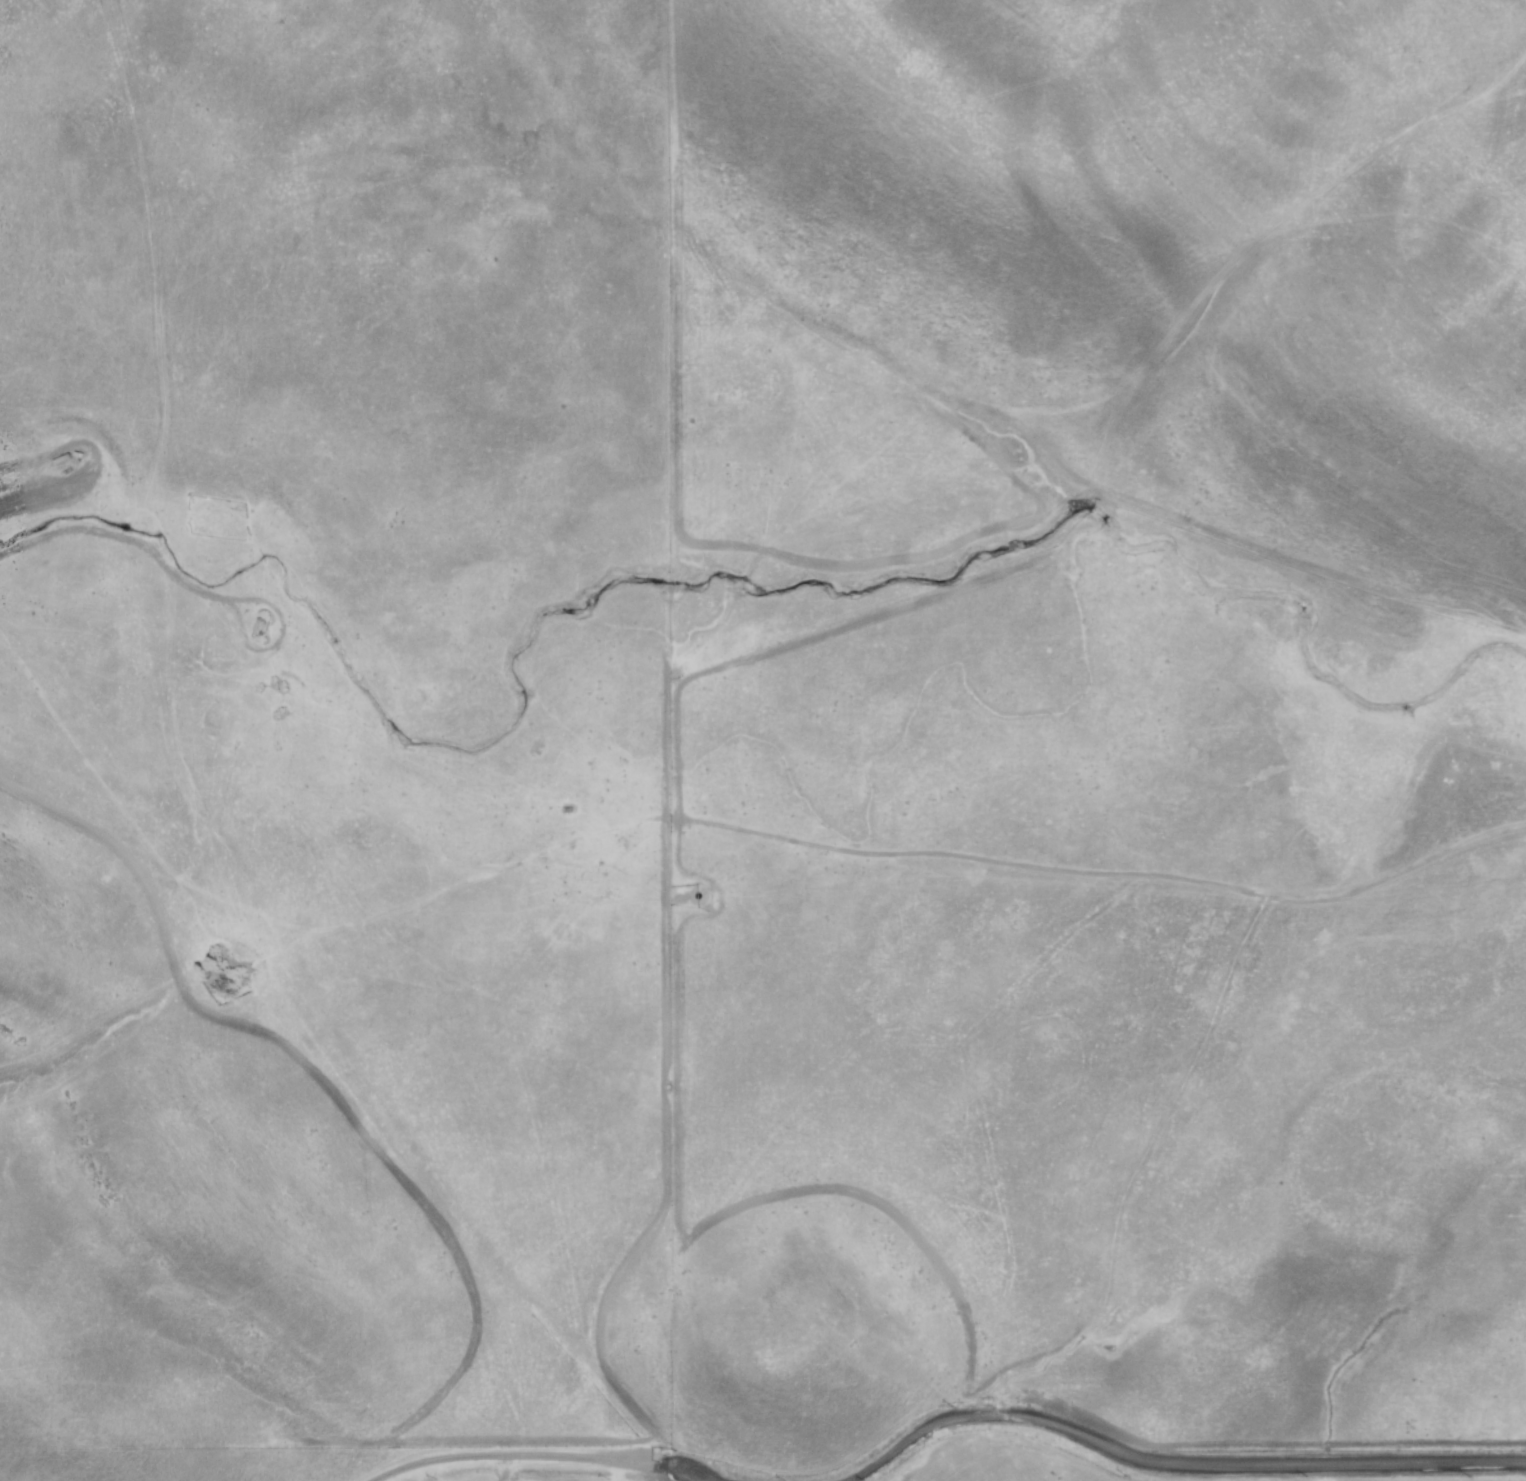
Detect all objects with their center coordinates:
road: (555, 1461)
road: (1171, 1461)

